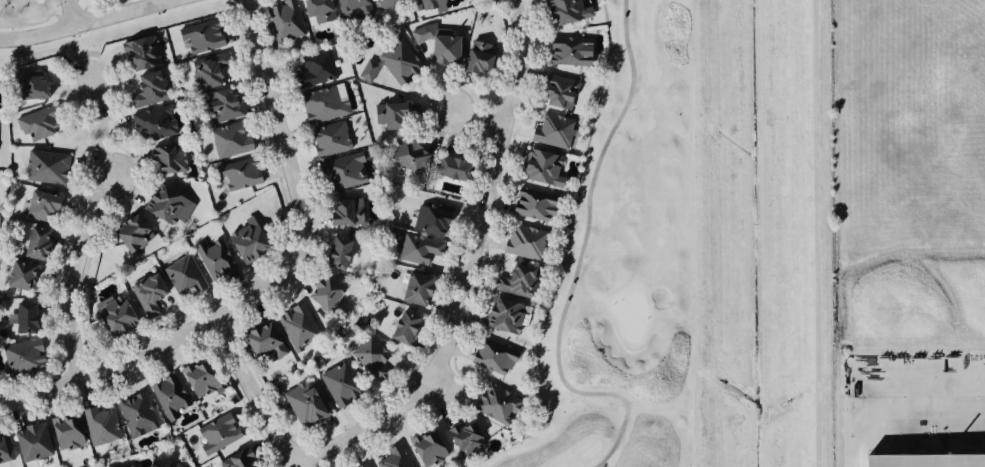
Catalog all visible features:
building: (385, 3)
building: (429, 5)
building: (351, 9)
building: (313, 11)
building: (566, 12)
park: (28, 13)
road: (73, 13)
building: (284, 21)
road: (87, 23)
building: (200, 37)
building: (436, 45)
building: (568, 52)
building: (139, 54)
building: (477, 58)
building: (391, 64)
building: (209, 71)
building: (314, 71)
building: (29, 86)
building: (147, 90)
building: (558, 94)
building: (322, 105)
building: (220, 106)
building: (388, 116)
road: (476, 116)
building: (152, 124)
building: (37, 125)
road: (282, 130)
building: (551, 132)
building: (328, 140)
building: (229, 141)
building: (407, 157)
building: (167, 161)
building: (45, 168)
building: (450, 169)
building: (540, 169)
building: (342, 173)
building: (237, 174)
building: (532, 205)
building: (39, 207)
building: (166, 207)
building: (343, 214)
building: (430, 222)
road: (86, 231)
building: (131, 234)
building: (247, 241)
building: (523, 242)
building: (34, 244)
building: (417, 250)
building: (335, 254)
road: (580, 258)
building: (214, 260)
park: (626, 264)
road: (471, 268)
building: (183, 276)
building: (18, 277)
building: (514, 282)
building: (414, 290)
building: (323, 294)
building: (147, 295)
building: (112, 314)
building: (503, 317)
building: (23, 319)
building: (297, 326)
building: (401, 328)
building: (263, 341)
road: (158, 351)
building: (369, 356)
building: (21, 358)
building: (492, 358)
building: (199, 381)
building: (339, 386)
road: (256, 394)
building: (169, 398)
building: (495, 404)
building: (304, 405)
road: (893, 407)
building: (136, 415)
building: (100, 426)
building: (65, 434)
building: (216, 435)
building: (465, 440)
building: (30, 443)
building: (5, 449)
building: (426, 449)
building: (393, 458)
building: (235, 460)
building: (904, 462)
building: (163, 466)
building: (365, 466)

